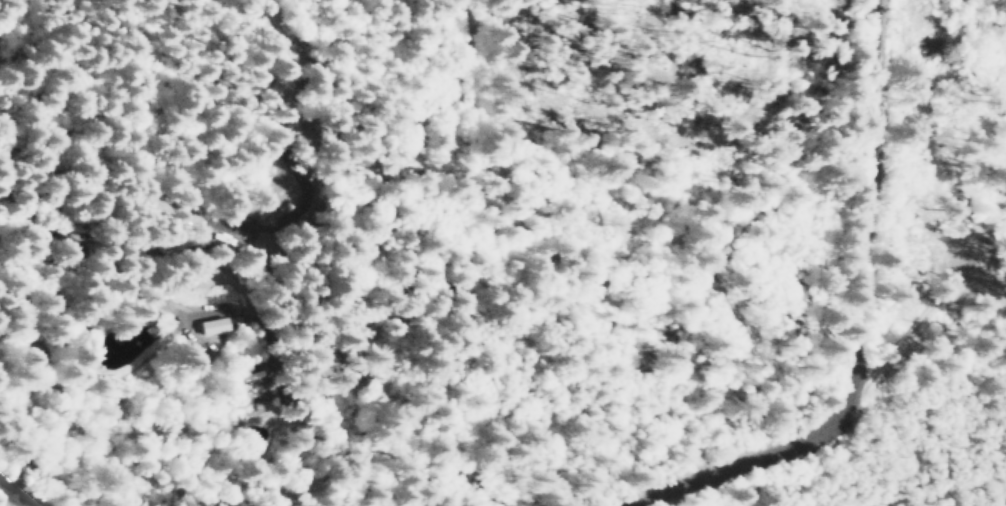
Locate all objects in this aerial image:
road: (176, 258)
road: (823, 285)
building: (210, 326)
road: (1, 403)
road: (15, 495)

